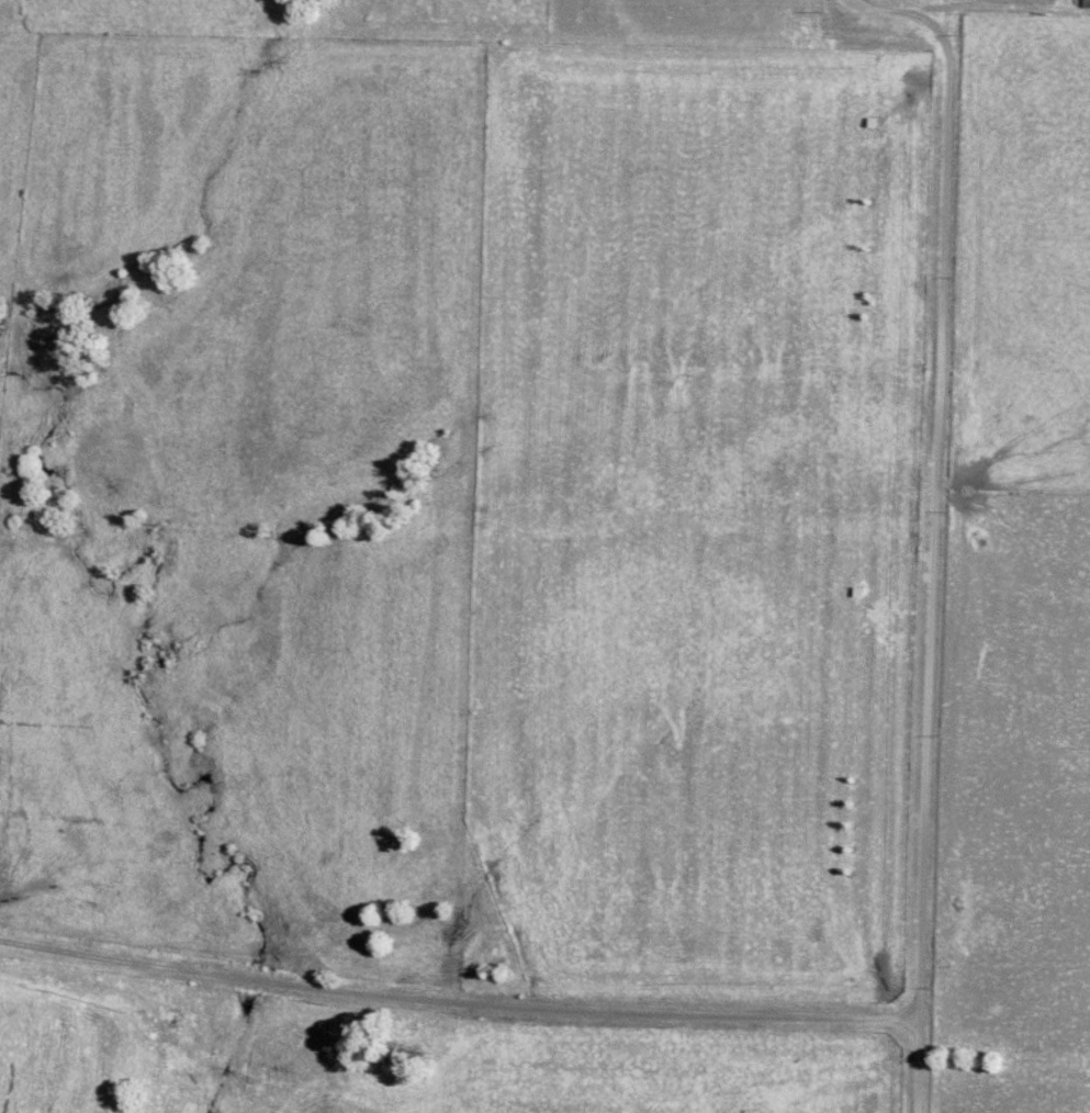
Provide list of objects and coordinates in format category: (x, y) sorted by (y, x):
building: (1089, 3)
road: (452, 990)

